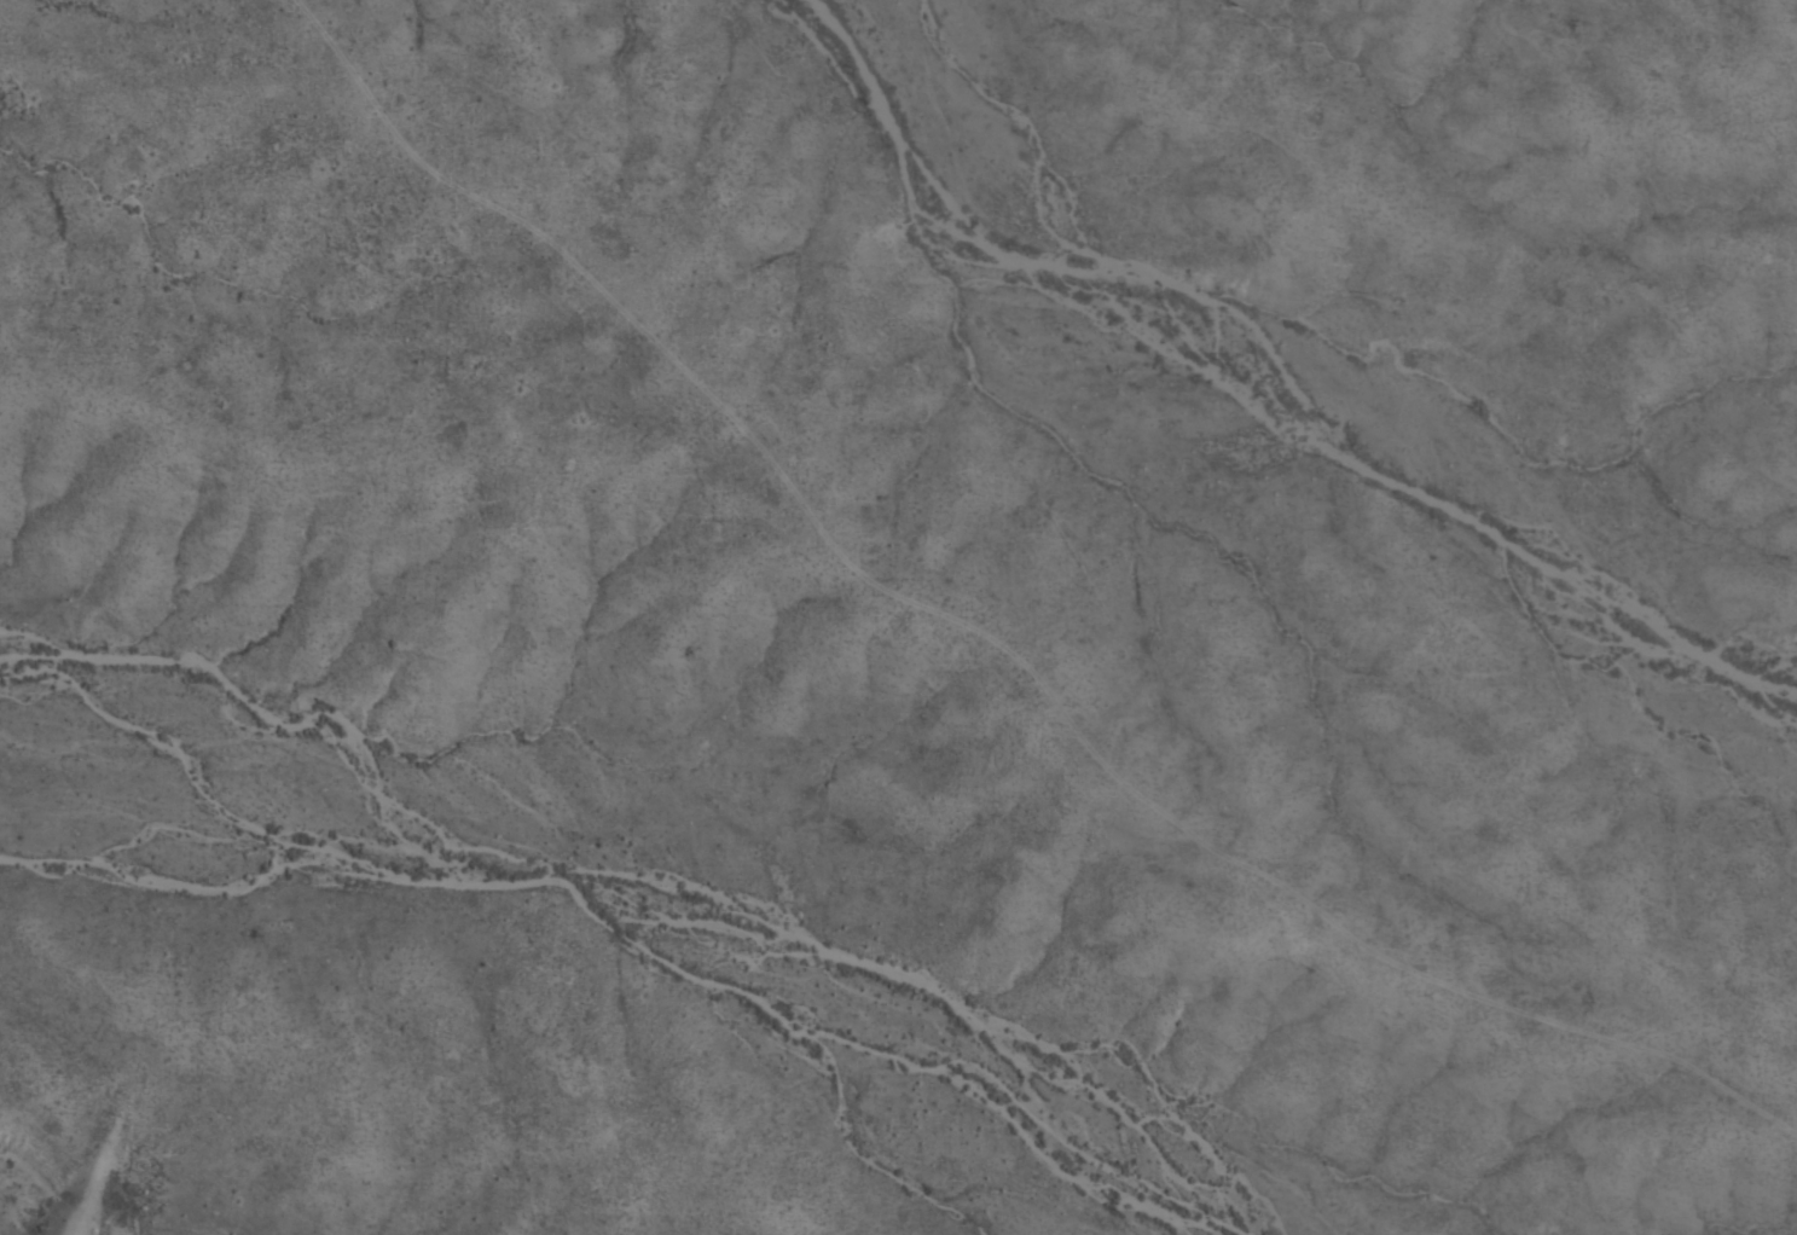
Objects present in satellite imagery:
road: (993, 638)
dam: (88, 1208)

